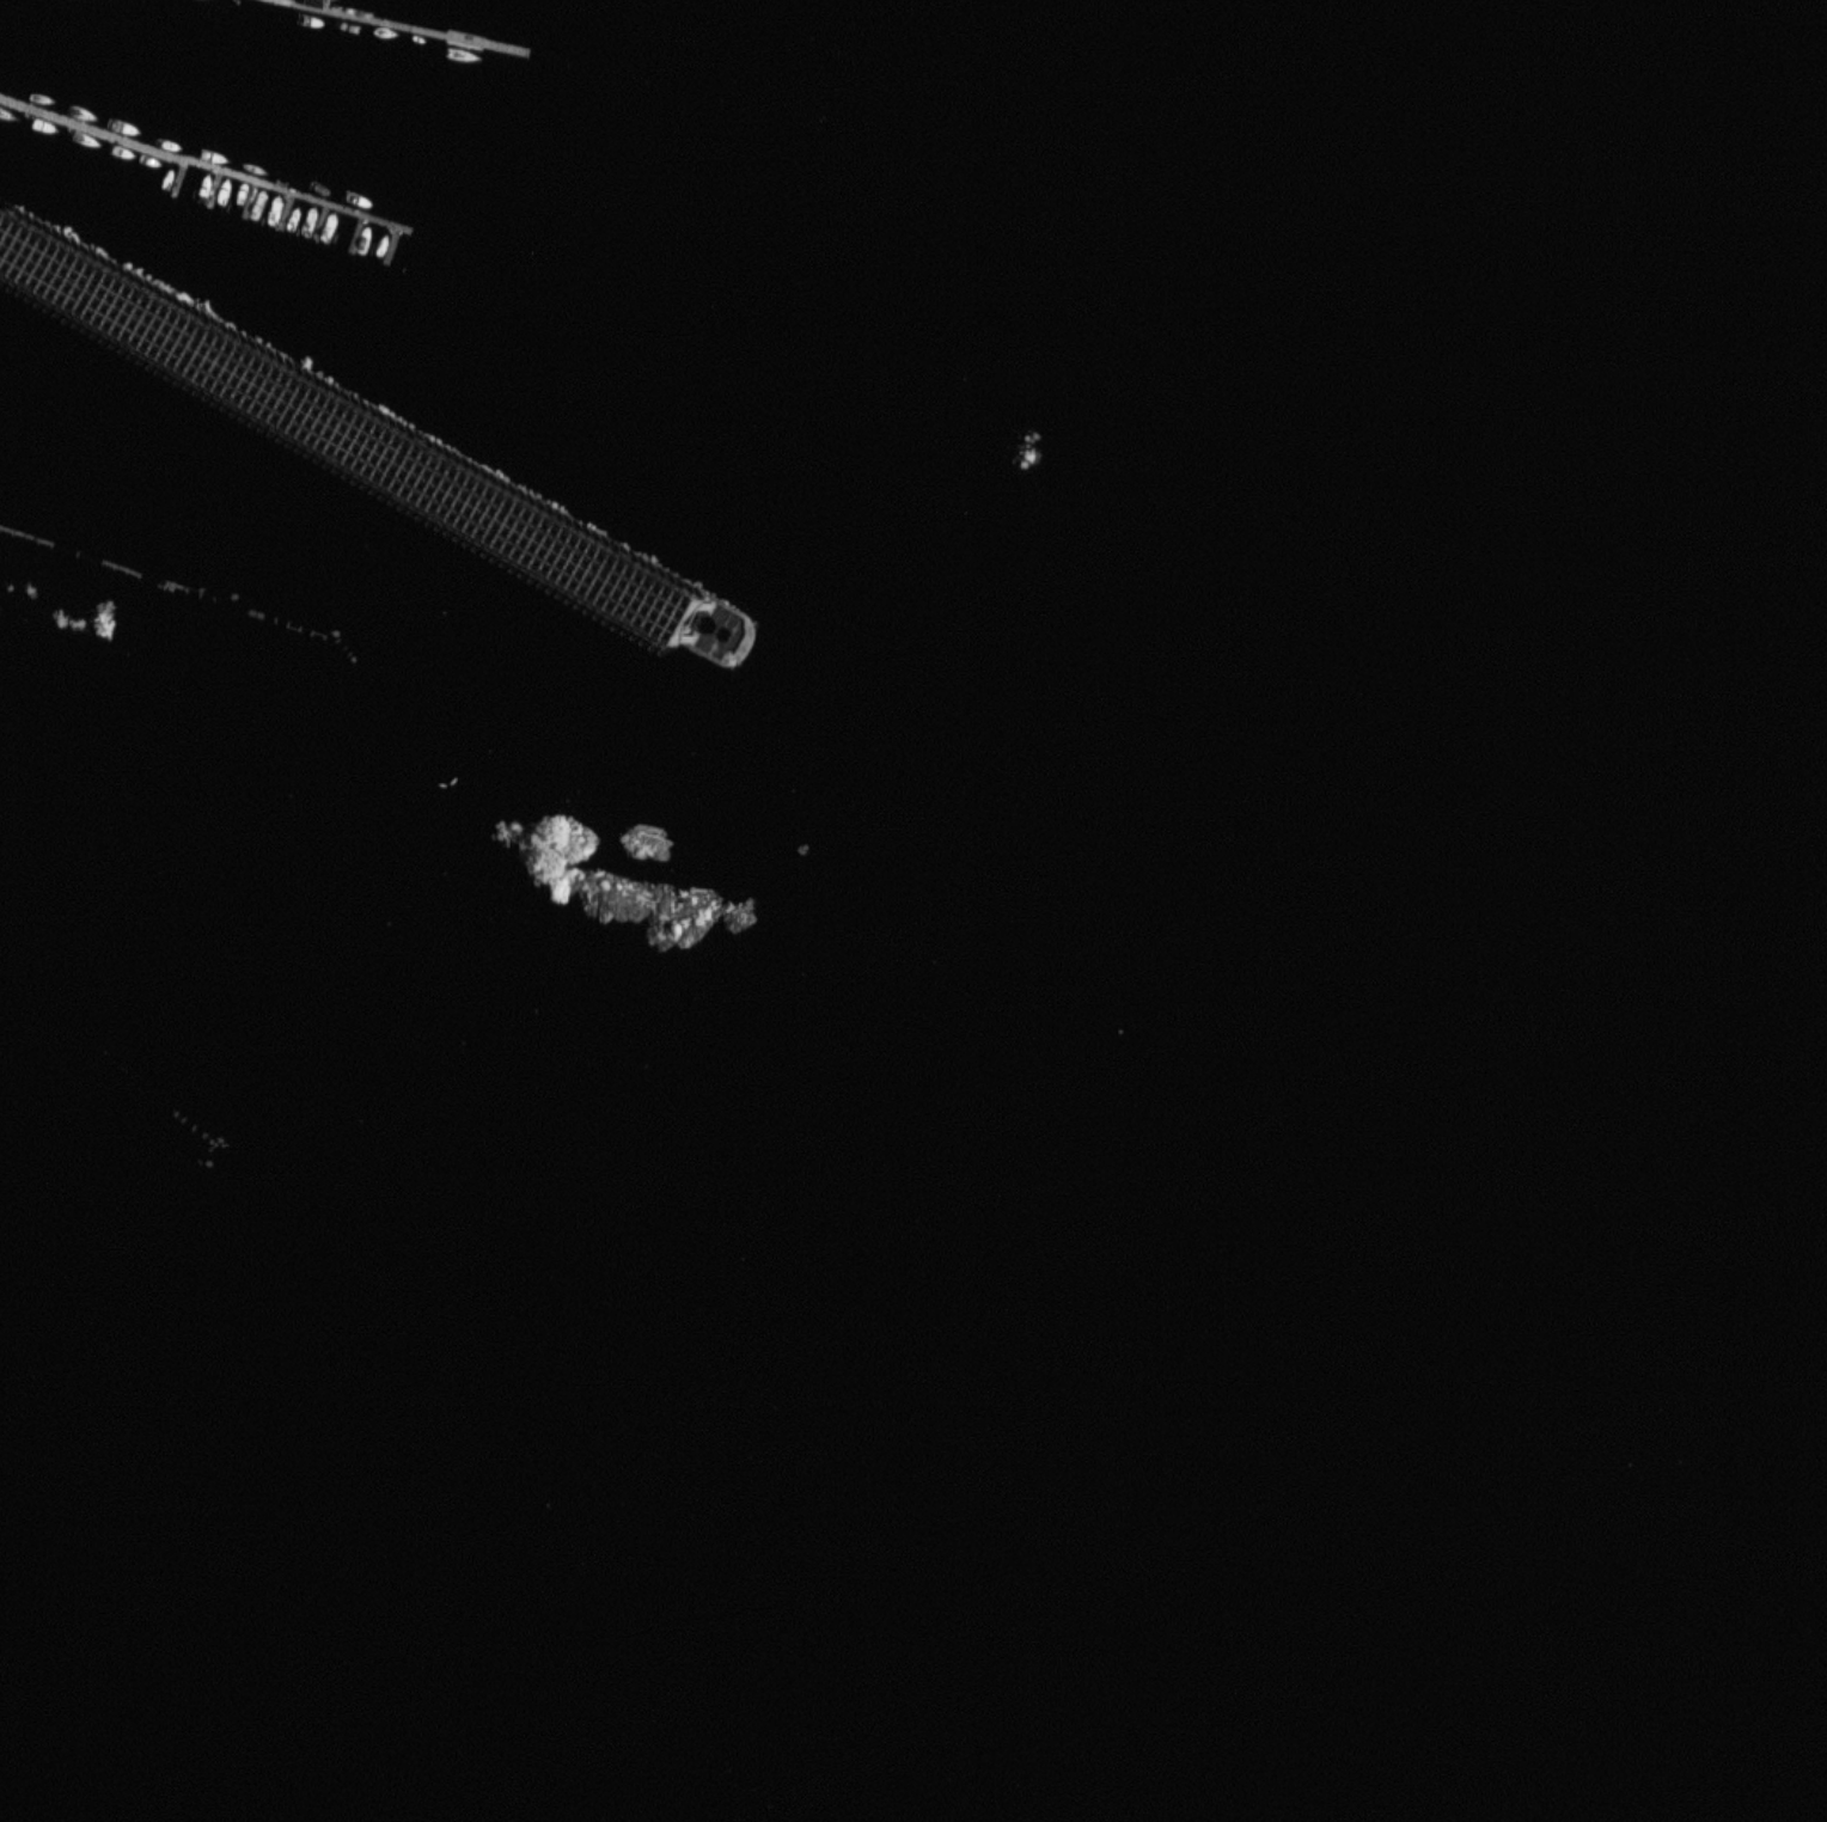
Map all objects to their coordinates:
building: (324, 1)
pier: (414, 25)
pier: (206, 159)

